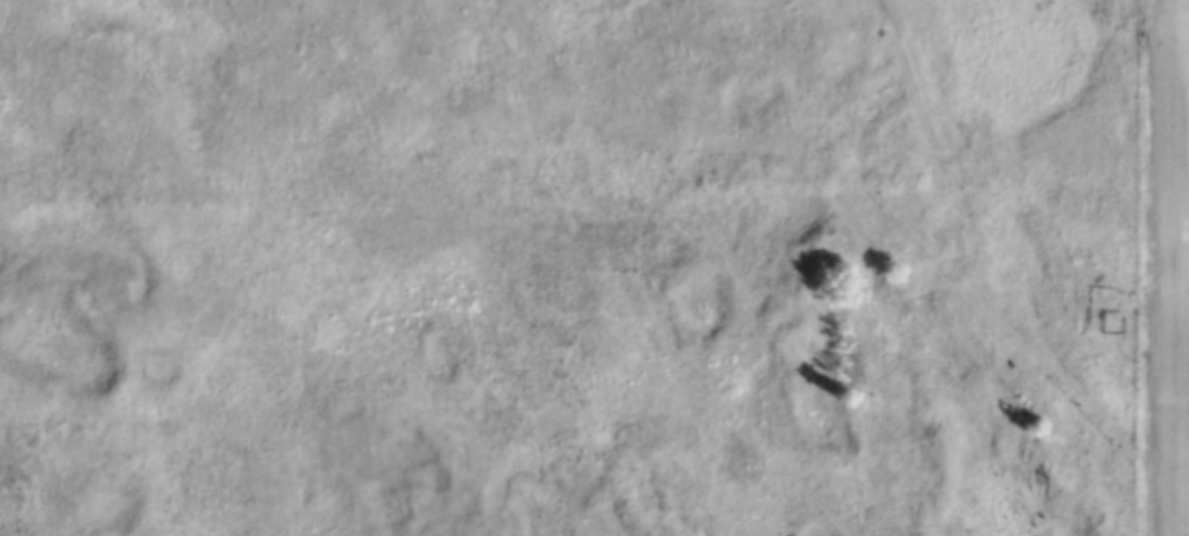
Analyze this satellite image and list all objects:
road: (1013, 270)

